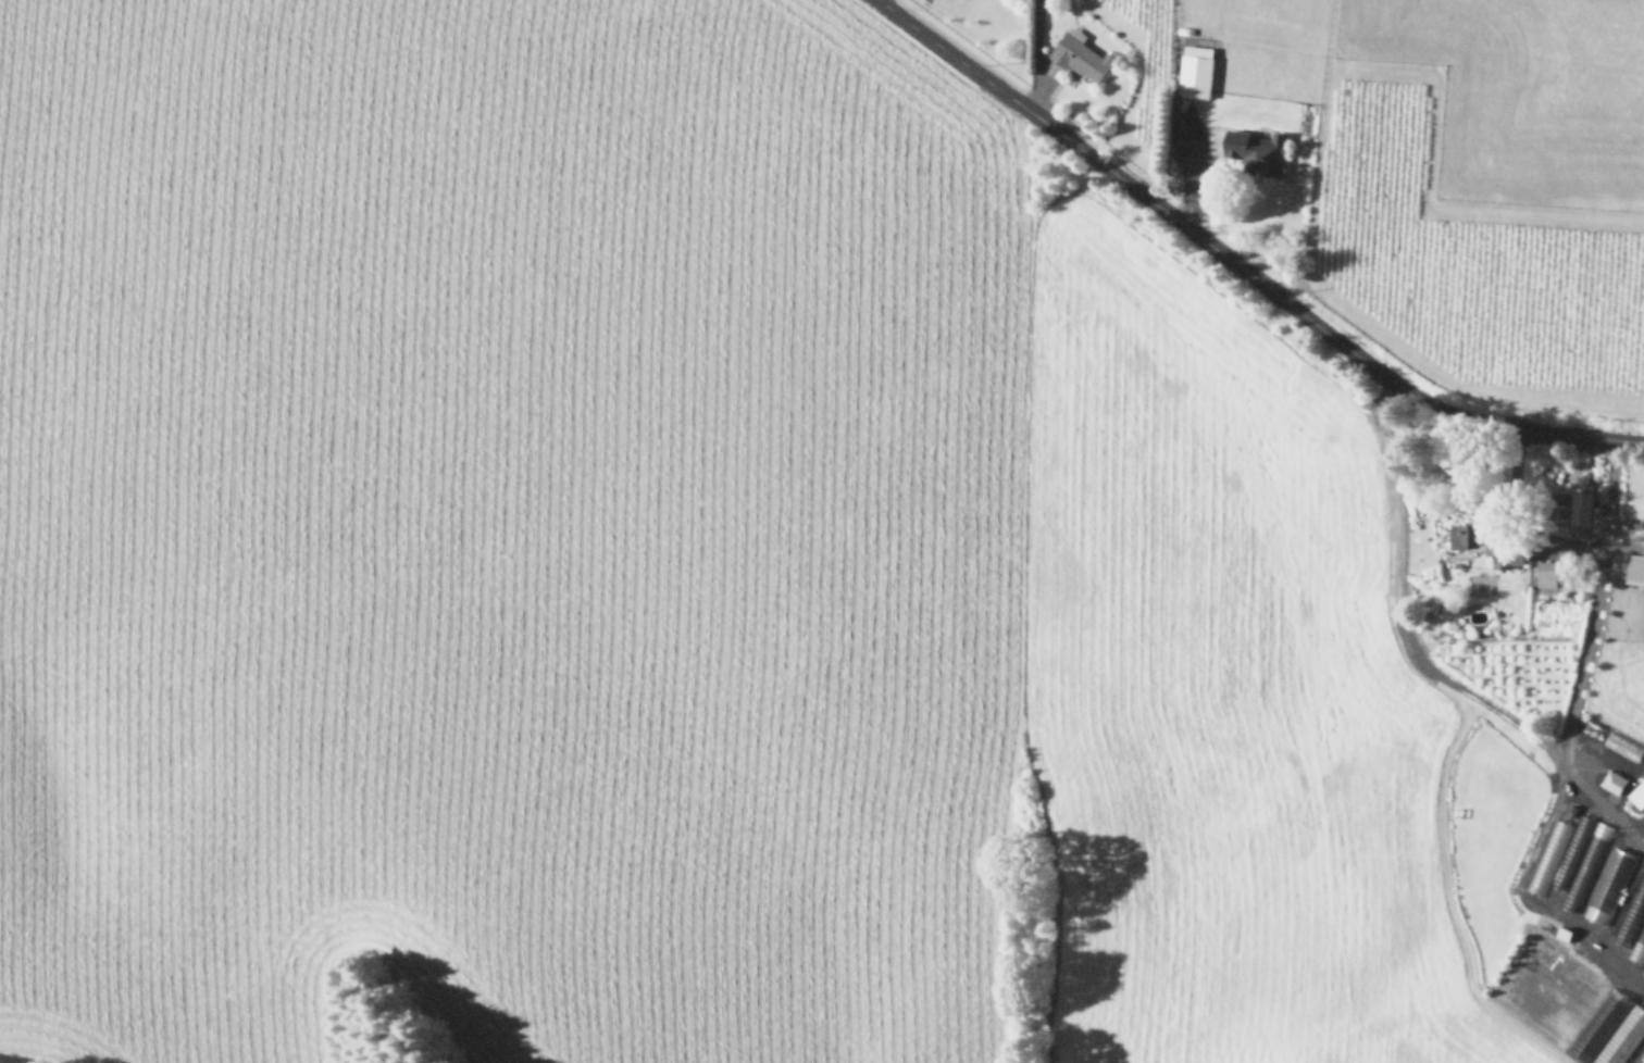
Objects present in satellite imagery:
road: (1036, 55)
building: (1080, 58)
building: (1195, 76)
building: (1290, 105)
building: (1257, 152)
road: (1185, 174)
road: (1241, 267)
building: (1580, 513)
crop: (825, 527)
building: (1467, 537)
building: (1635, 567)
building: (1550, 575)
road: (1499, 713)
building: (1612, 783)
building: (1637, 795)
road: (1595, 802)
building: (1578, 860)
building: (1546, 864)
building: (1608, 885)
building: (1632, 913)
building: (1643, 973)

